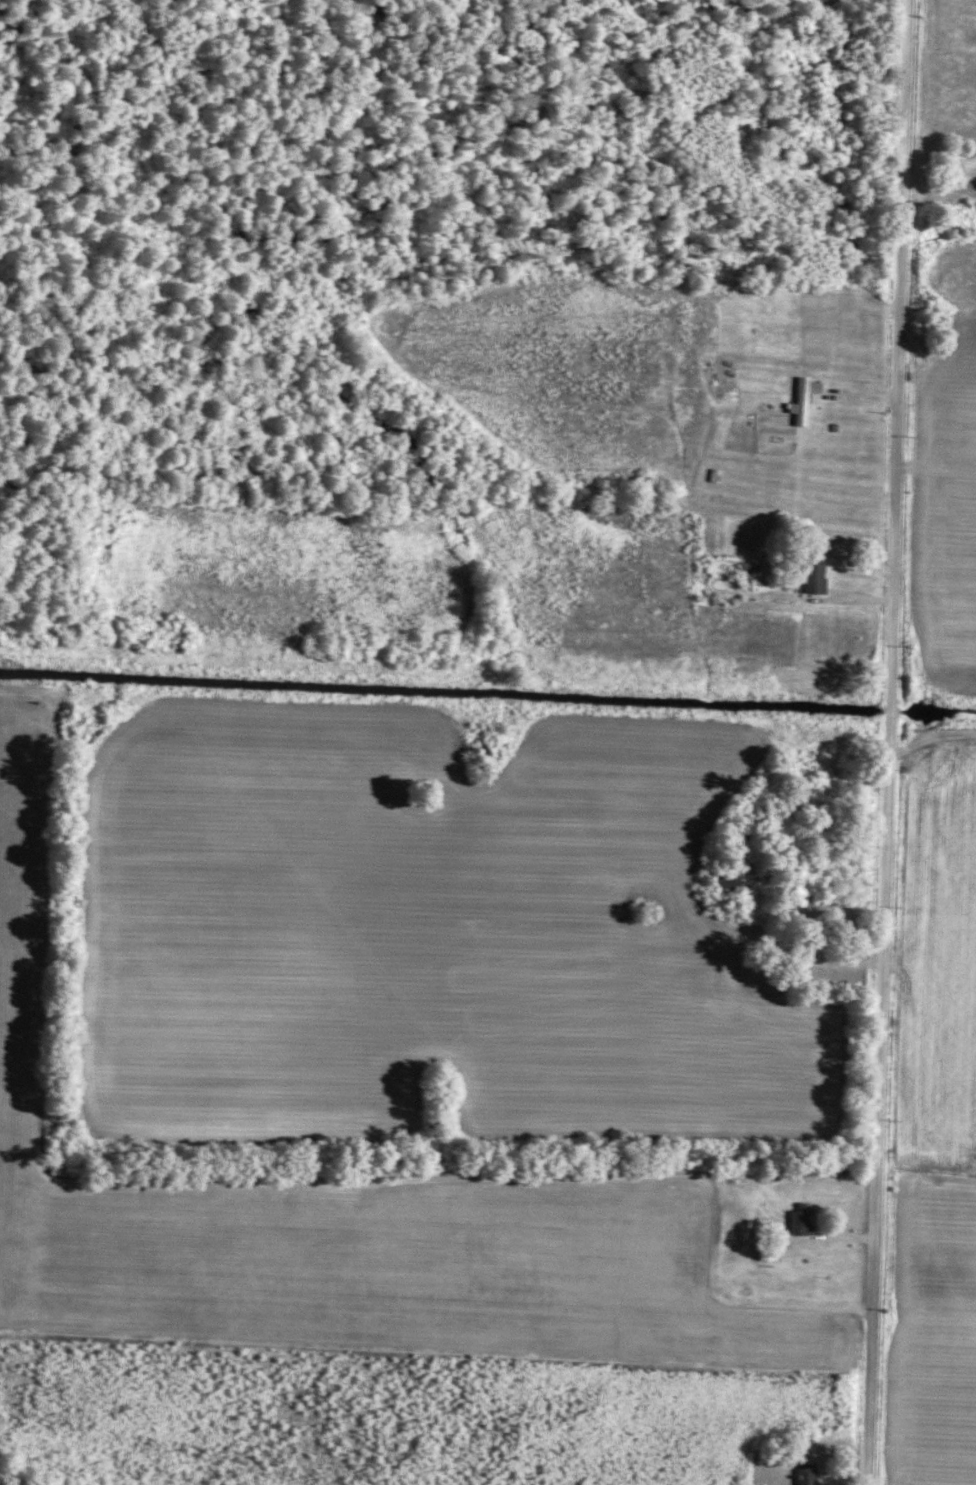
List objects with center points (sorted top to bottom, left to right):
road: (939, 190)
building: (794, 402)
building: (808, 576)
road: (932, 737)
road: (888, 742)
building: (732, 835)
building: (720, 878)
building: (795, 1220)
building: (800, 1473)

